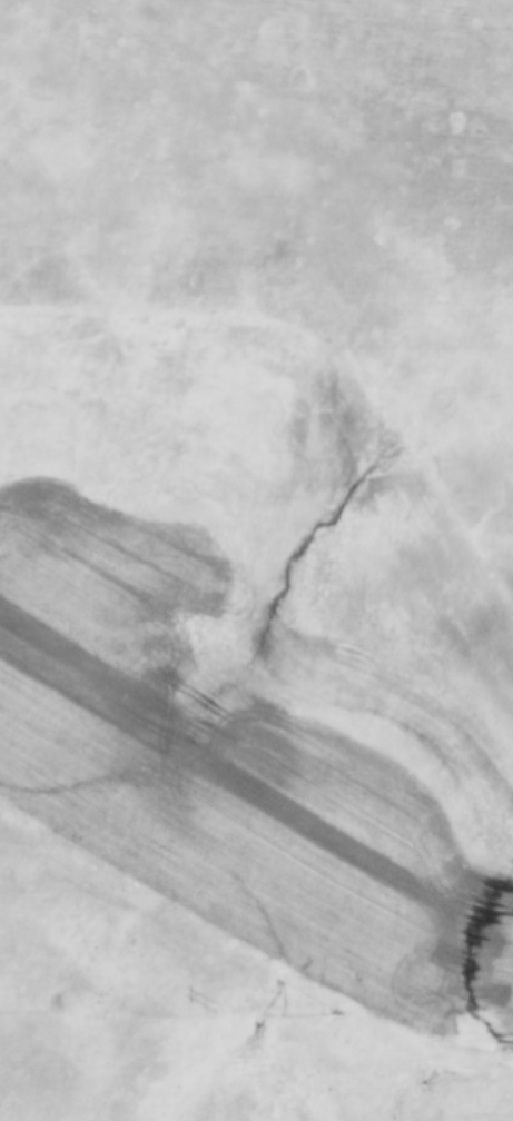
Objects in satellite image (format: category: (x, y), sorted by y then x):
road: (246, 949)

